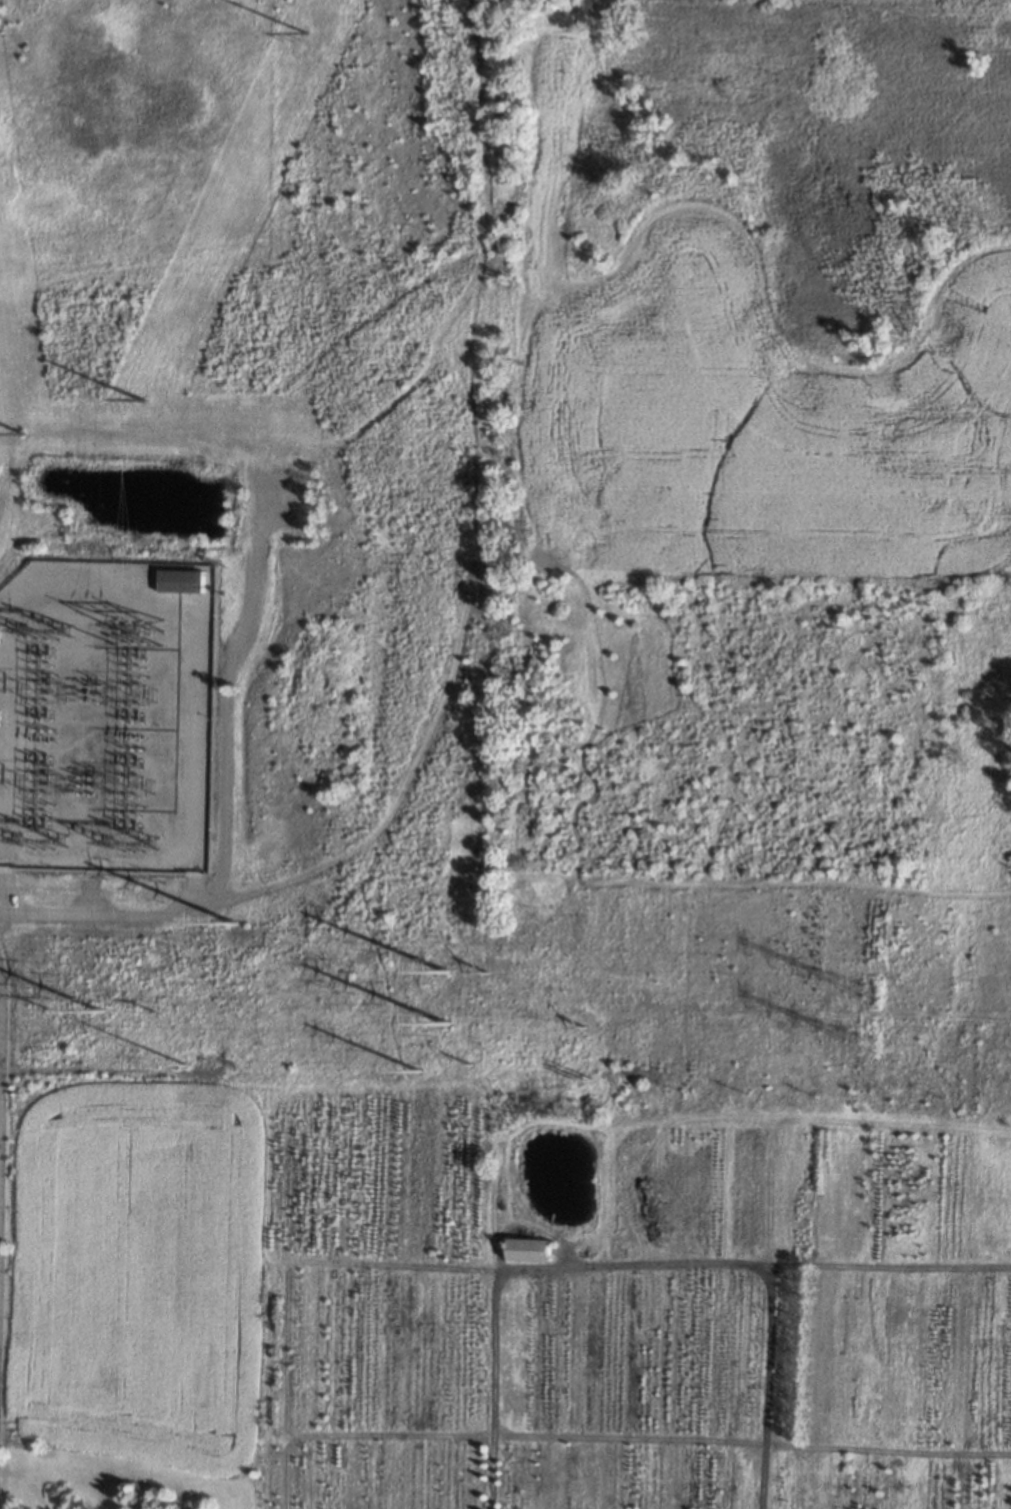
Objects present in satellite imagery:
power tower: (304, 30)
power tower: (140, 397)
power tower: (24, 436)
building: (183, 580)
power tower: (132, 624)
power tower: (49, 634)
power substation: (108, 716)
power tower: (46, 842)
power tower: (135, 844)
power tower: (238, 928)
power tower: (491, 972)
power tower: (447, 973)
power tower: (865, 994)
power tower: (54, 1007)
power tower: (157, 1008)
power tower: (105, 1010)
power tower: (586, 1024)
power tower: (452, 1025)
power tower: (866, 1050)
power tower: (185, 1062)
power tower: (472, 1065)
power tower: (420, 1072)
power tower: (584, 1080)
crop: (672, 1232)
building: (531, 1250)
crop: (140, 1276)

